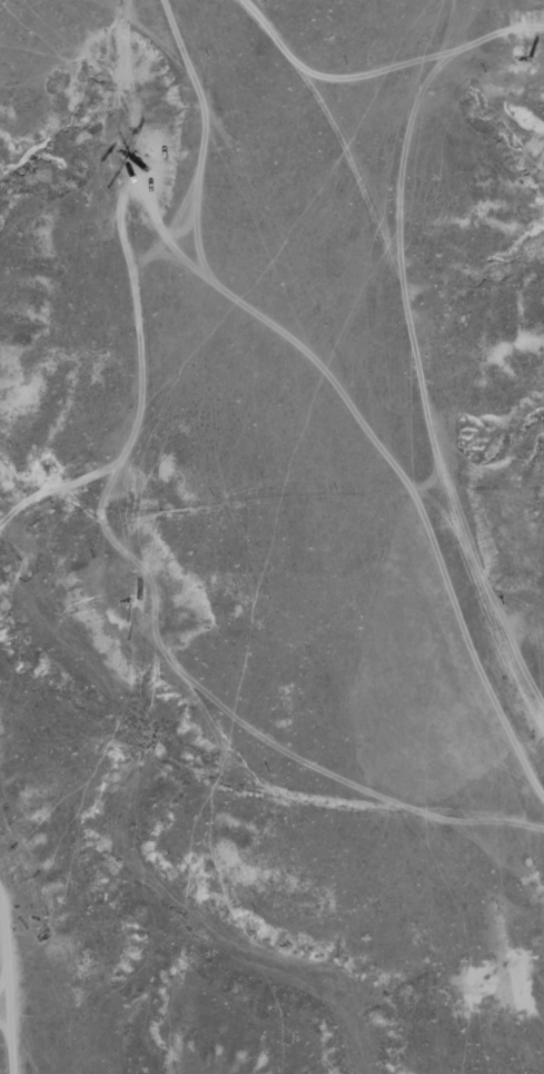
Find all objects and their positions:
road: (131, 266)
road: (423, 352)
road: (239, 540)
road: (9, 967)
road: (2, 1072)

